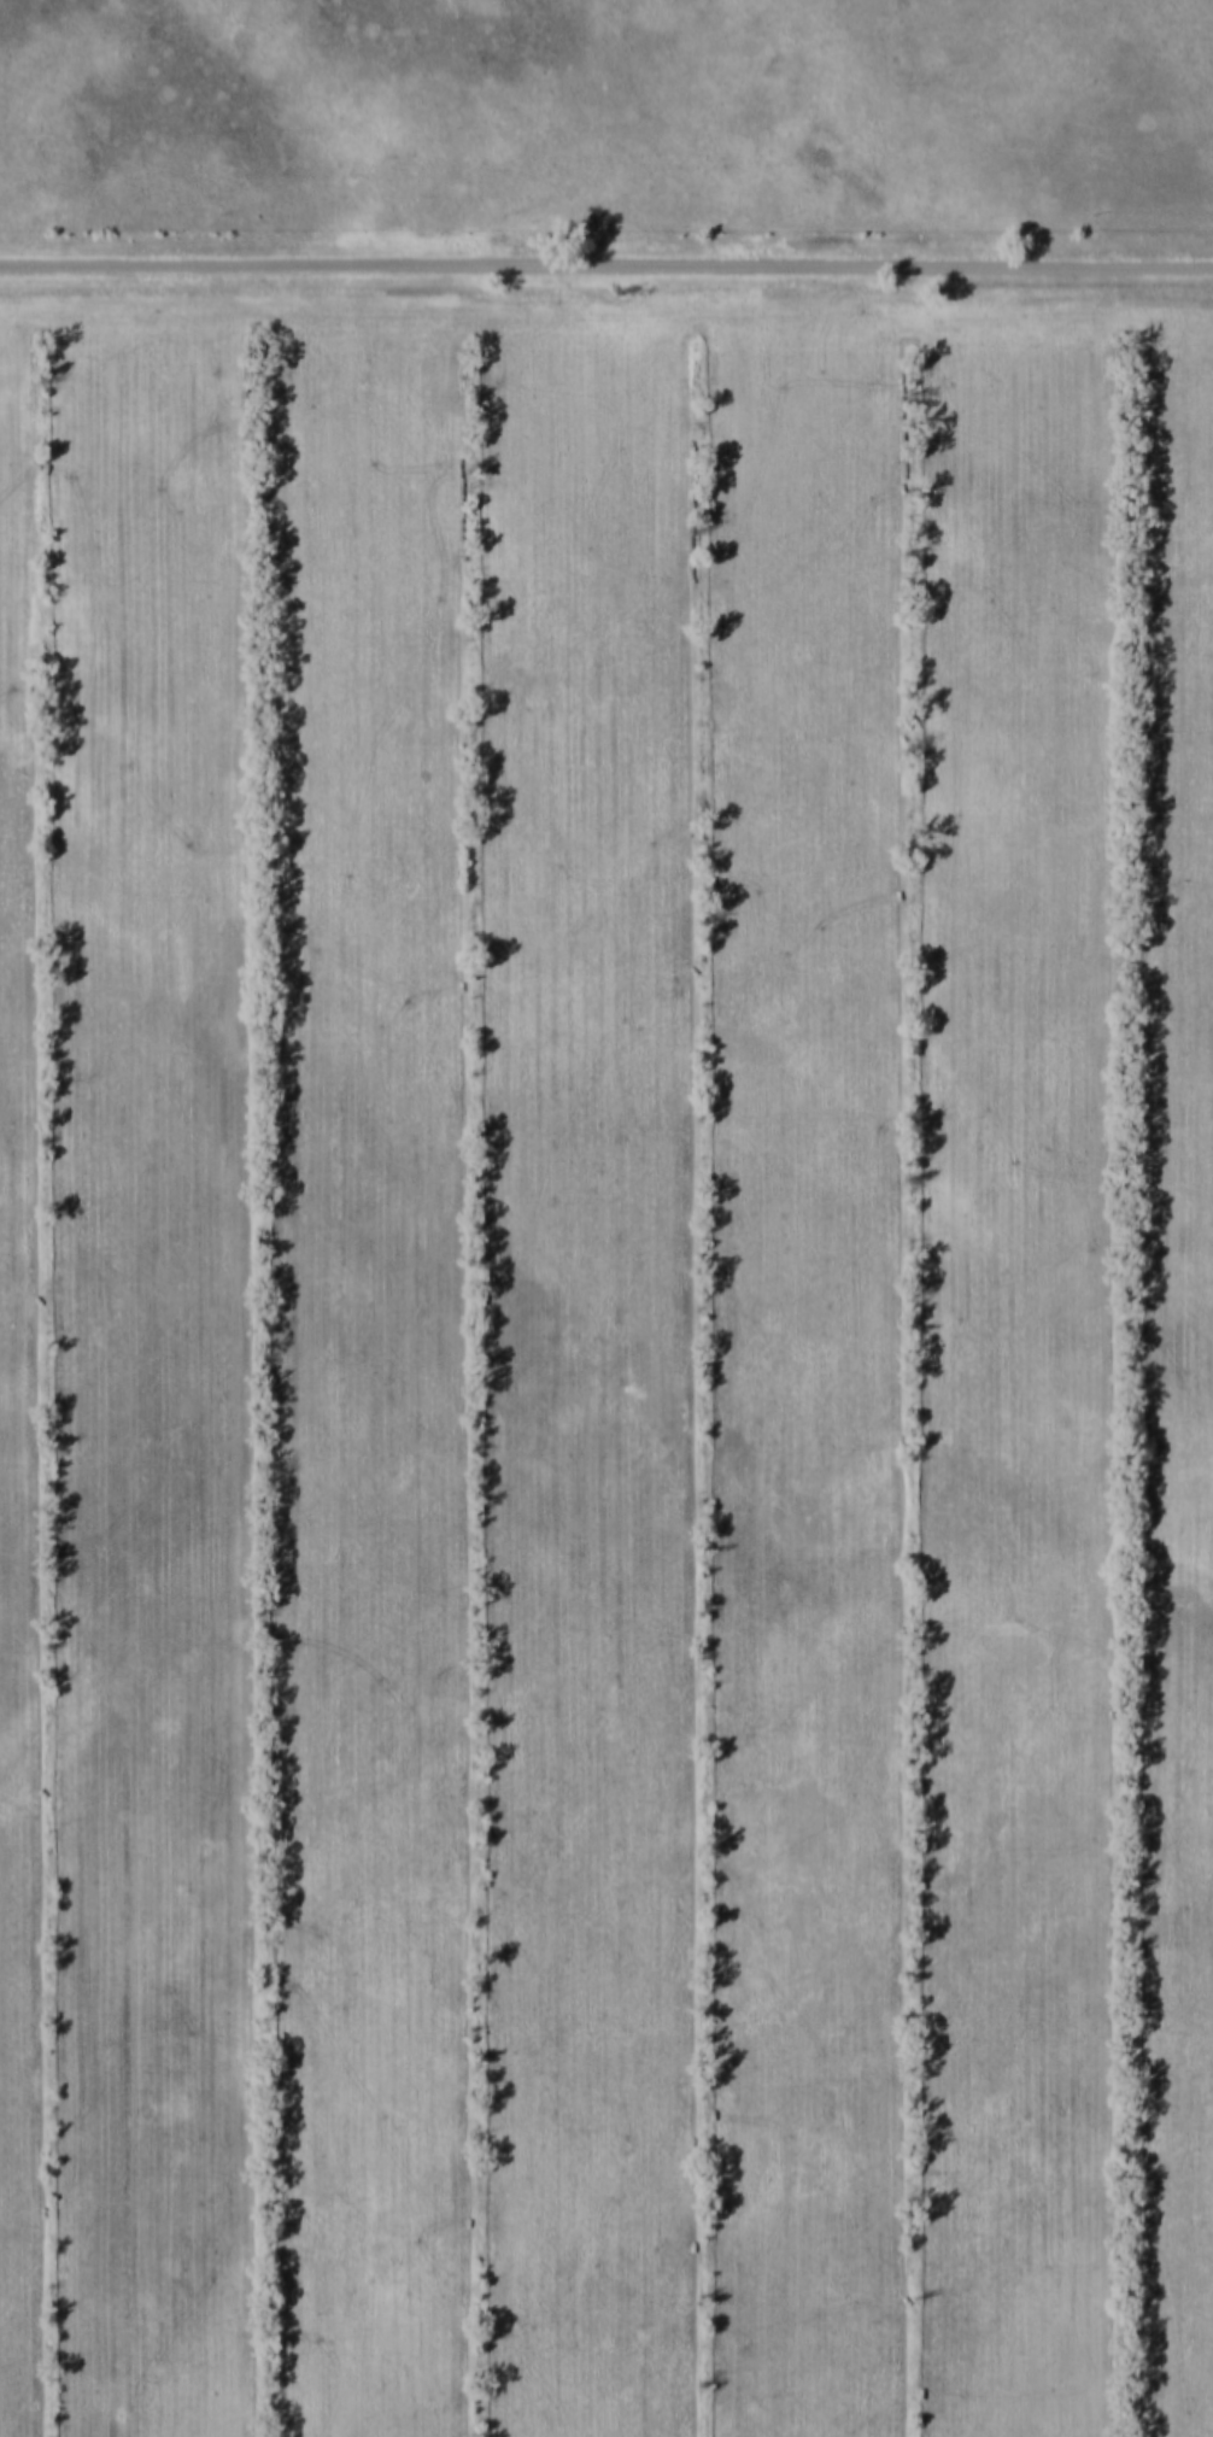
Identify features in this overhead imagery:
road: (606, 260)

